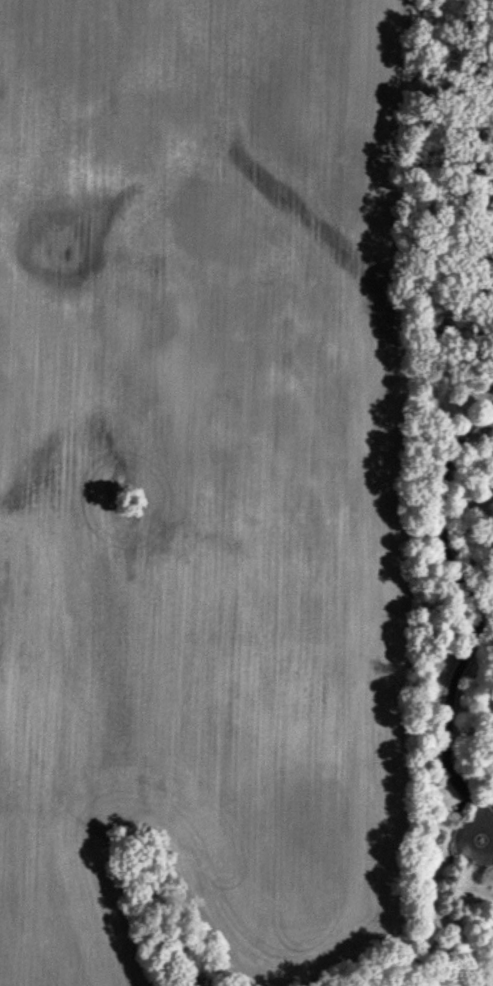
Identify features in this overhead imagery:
road: (482, 145)
road: (490, 221)
road: (479, 611)
building: (492, 876)

